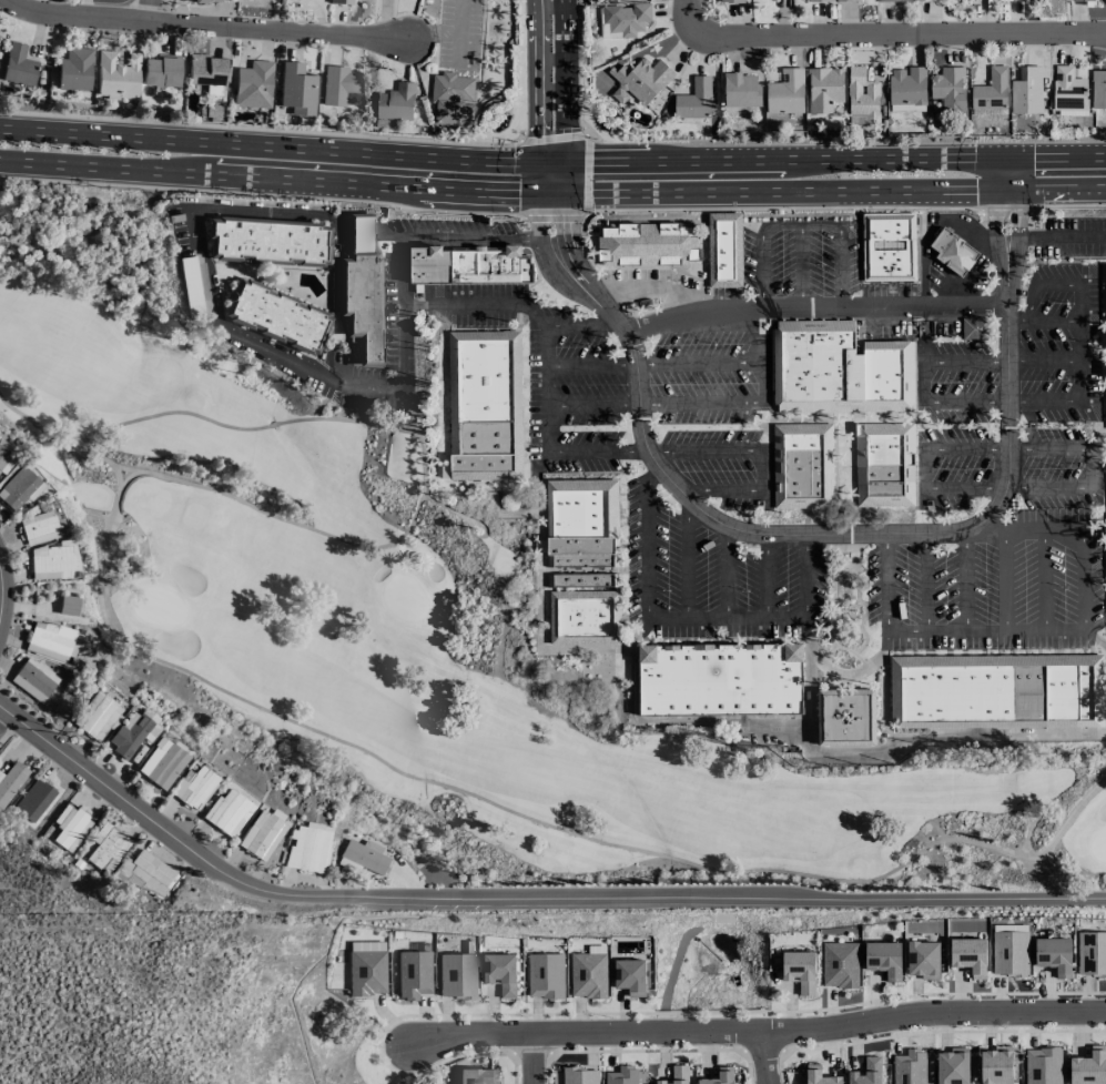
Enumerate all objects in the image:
building: (610, 0)
building: (812, 0)
building: (845, 0)
building: (890, 0)
building: (930, 0)
building: (1012, 0)
building: (1076, 0)
building: (729, 1)
building: (339, 2)
road: (549, 4)
road: (148, 10)
building: (623, 19)
road: (206, 24)
park: (494, 29)
road: (883, 29)
parking lot: (454, 31)
road: (459, 32)
building: (0, 38)
road: (550, 61)
building: (17, 65)
road: (565, 65)
road: (537, 67)
building: (74, 70)
building: (204, 70)
building: (160, 71)
building: (114, 74)
building: (640, 80)
building: (253, 85)
building: (906, 85)
building: (948, 88)
building: (297, 89)
building: (824, 89)
building: (1068, 89)
building: (1098, 89)
road: (550, 90)
building: (741, 90)
building: (991, 90)
building: (1026, 91)
building: (785, 92)
building: (862, 97)
building: (451, 98)
building: (694, 100)
building: (396, 101)
fountain: (506, 124)
fountain: (596, 124)
road: (260, 129)
road: (551, 136)
road: (565, 136)
road: (537, 139)
road: (282, 146)
road: (565, 150)
traffic signals: (1017, 155)
road: (848, 156)
traffic signals: (565, 160)
road: (574, 160)
road: (586, 160)
traffic signals: (537, 161)
road: (537, 168)
road: (1016, 172)
road: (565, 175)
road: (586, 175)
road: (282, 178)
road: (520, 180)
traffic signals: (1015, 189)
road: (846, 190)
traffic signals: (537, 192)
traffic signals: (565, 192)
road: (574, 192)
road: (586, 192)
road: (262, 195)
road: (1067, 203)
road: (780, 206)
road: (564, 207)
road: (537, 209)
road: (1005, 212)
road: (554, 217)
road: (779, 226)
road: (820, 226)
road: (992, 230)
road: (564, 231)
road: (481, 236)
road: (1061, 240)
building: (265, 241)
building: (650, 244)
road: (1014, 245)
building: (890, 246)
building: (724, 250)
building: (954, 252)
building: (470, 264)
road: (554, 266)
road: (801, 266)
road: (571, 269)
road: (840, 269)
road: (762, 271)
road: (646, 286)
building: (361, 290)
road: (1036, 293)
road: (207, 303)
road: (443, 304)
road: (813, 306)
building: (275, 317)
road: (1049, 321)
road: (581, 324)
building: (977, 328)
road: (753, 335)
road: (1078, 341)
fountain: (1096, 346)
road: (942, 362)
building: (840, 371)
road: (763, 382)
road: (545, 389)
road: (1043, 399)
building: (485, 405)
road: (420, 453)
road: (597, 453)
building: (6, 457)
road: (758, 462)
building: (802, 465)
building: (884, 465)
road: (125, 469)
road: (1093, 483)
building: (19, 488)
building: (582, 514)
building: (38, 528)
road: (1027, 530)
road: (824, 534)
road: (646, 539)
building: (581, 551)
road: (687, 560)
road: (727, 574)
road: (767, 577)
road: (1080, 578)
road: (966, 579)
road: (1044, 579)
building: (584, 580)
road: (1005, 580)
road: (884, 581)
road: (925, 581)
road: (0, 591)
road: (806, 597)
park: (846, 607)
park: (406, 612)
building: (585, 617)
road: (707, 621)
road: (984, 629)
road: (1094, 638)
building: (52, 641)
road: (808, 672)
road: (853, 675)
building: (34, 679)
building: (721, 679)
road: (885, 685)
building: (996, 691)
building: (99, 718)
building: (846, 718)
road: (669, 722)
building: (131, 733)
road: (992, 736)
building: (138, 751)
road: (841, 754)
building: (162, 763)
building: (10, 782)
building: (195, 788)
building: (35, 801)
road: (1033, 802)
road: (130, 804)
building: (229, 812)
building: (70, 827)
road: (1059, 832)
building: (261, 837)
building: (108, 848)
building: (308, 848)
road: (1019, 850)
building: (364, 857)
building: (146, 873)
road: (686, 891)
building: (1009, 951)
building: (1054, 954)
building: (1092, 954)
building: (968, 955)
building: (884, 959)
building: (923, 959)
building: (840, 964)
building: (366, 969)
building: (799, 970)
building: (499, 973)
building: (588, 973)
building: (413, 974)
building: (456, 975)
building: (545, 975)
building: (630, 975)
road: (761, 1033)
road: (47, 1051)
road: (764, 1058)
road: (534, 1060)
building: (996, 1065)
building: (1043, 1065)
building: (952, 1066)
building: (1088, 1066)
building: (909, 1067)
building: (866, 1072)
building: (579, 1075)
building: (622, 1075)
building: (677, 1075)
building: (819, 1075)
building: (474, 1076)
building: (720, 1076)

